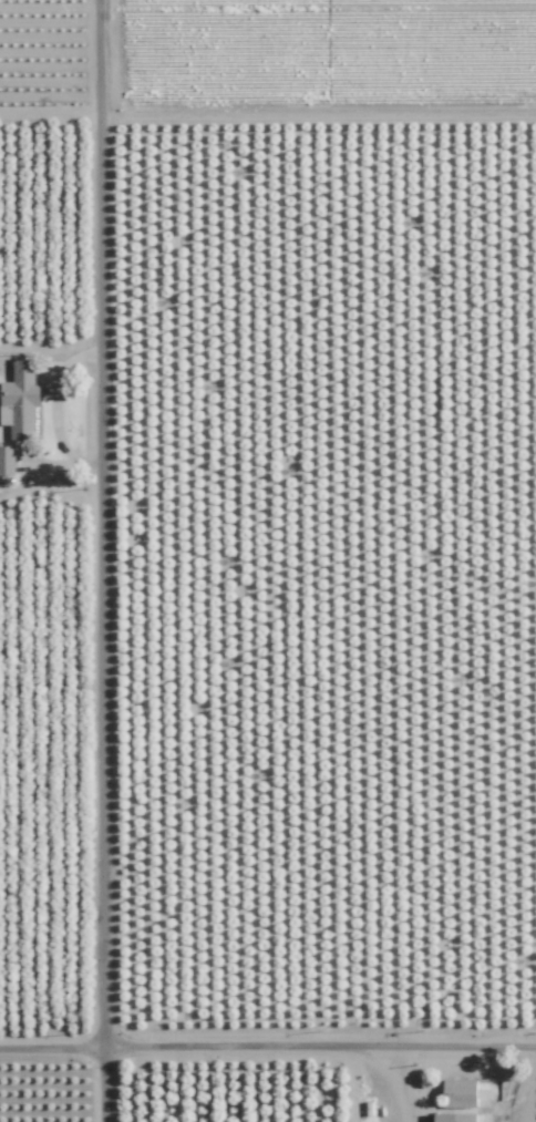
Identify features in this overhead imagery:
building: (19, 400)
road: (53, 406)
building: (7, 460)
road: (103, 560)
crop: (43, 574)
road: (268, 1037)
road: (349, 1079)
road: (388, 1079)
road: (532, 1093)
building: (456, 1116)

